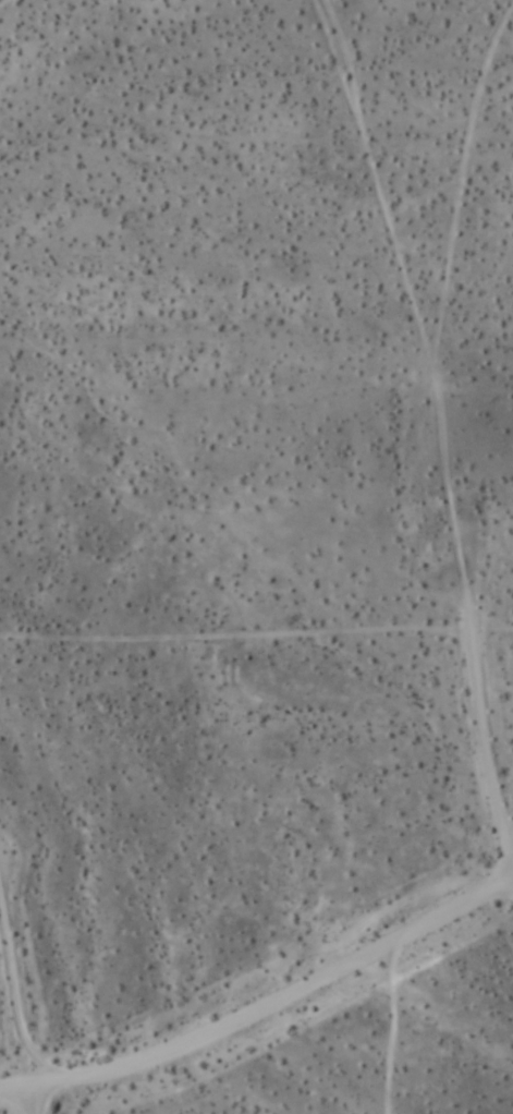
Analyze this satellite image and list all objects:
road: (485, 749)
road: (262, 1008)
road: (19, 1038)

